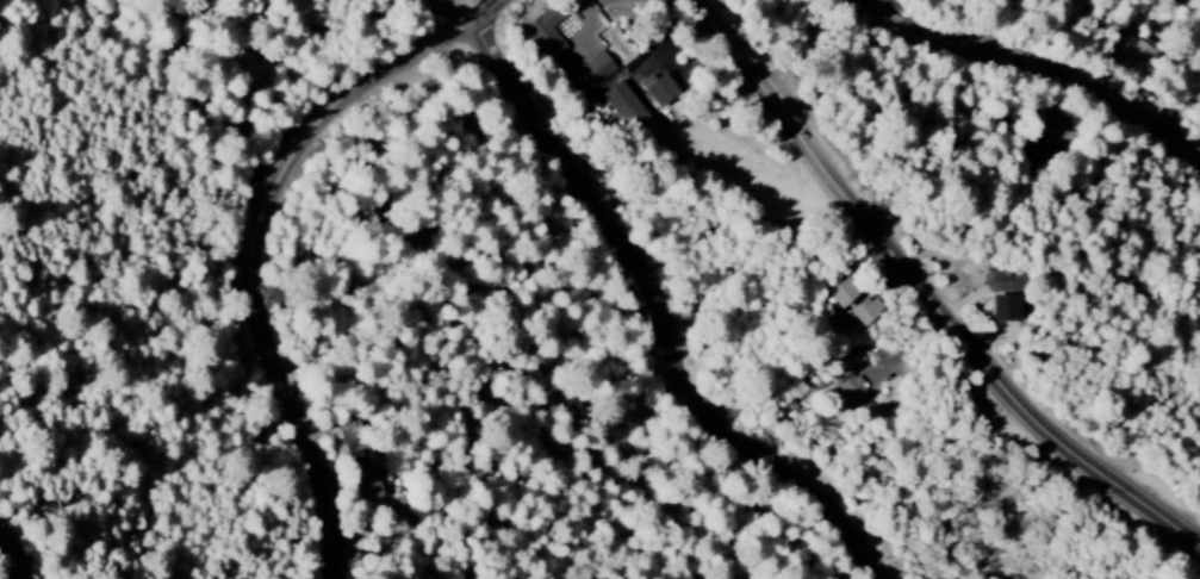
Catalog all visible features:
park: (1196, 4)
road: (434, 20)
building: (545, 32)
building: (1130, 55)
road: (1040, 67)
building: (585, 73)
building: (660, 91)
building: (623, 106)
road: (265, 242)
road: (929, 288)
building: (843, 293)
building: (1008, 309)
building: (865, 311)
road: (665, 317)
building: (353, 434)
building: (367, 484)
road: (24, 544)

